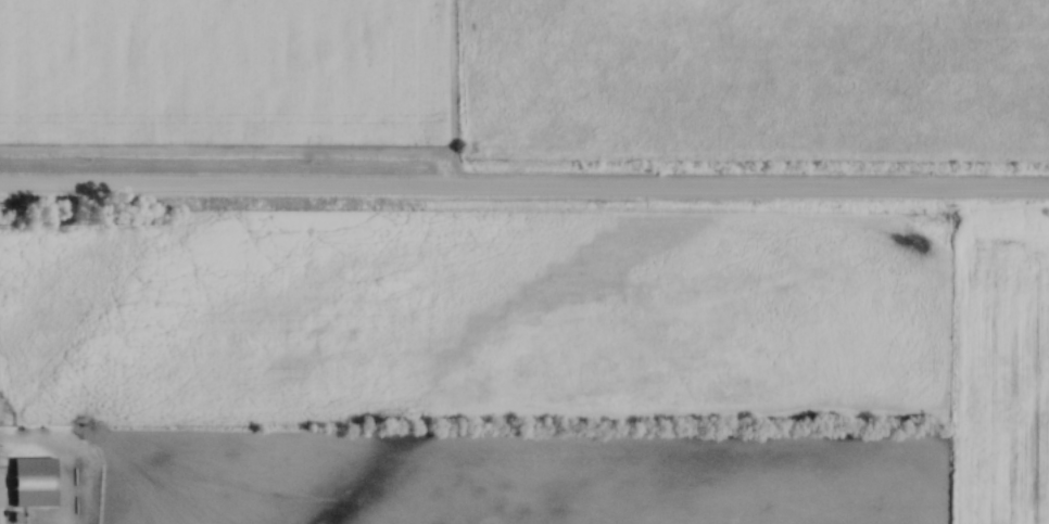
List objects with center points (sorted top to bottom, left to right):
road: (524, 194)
building: (33, 482)

